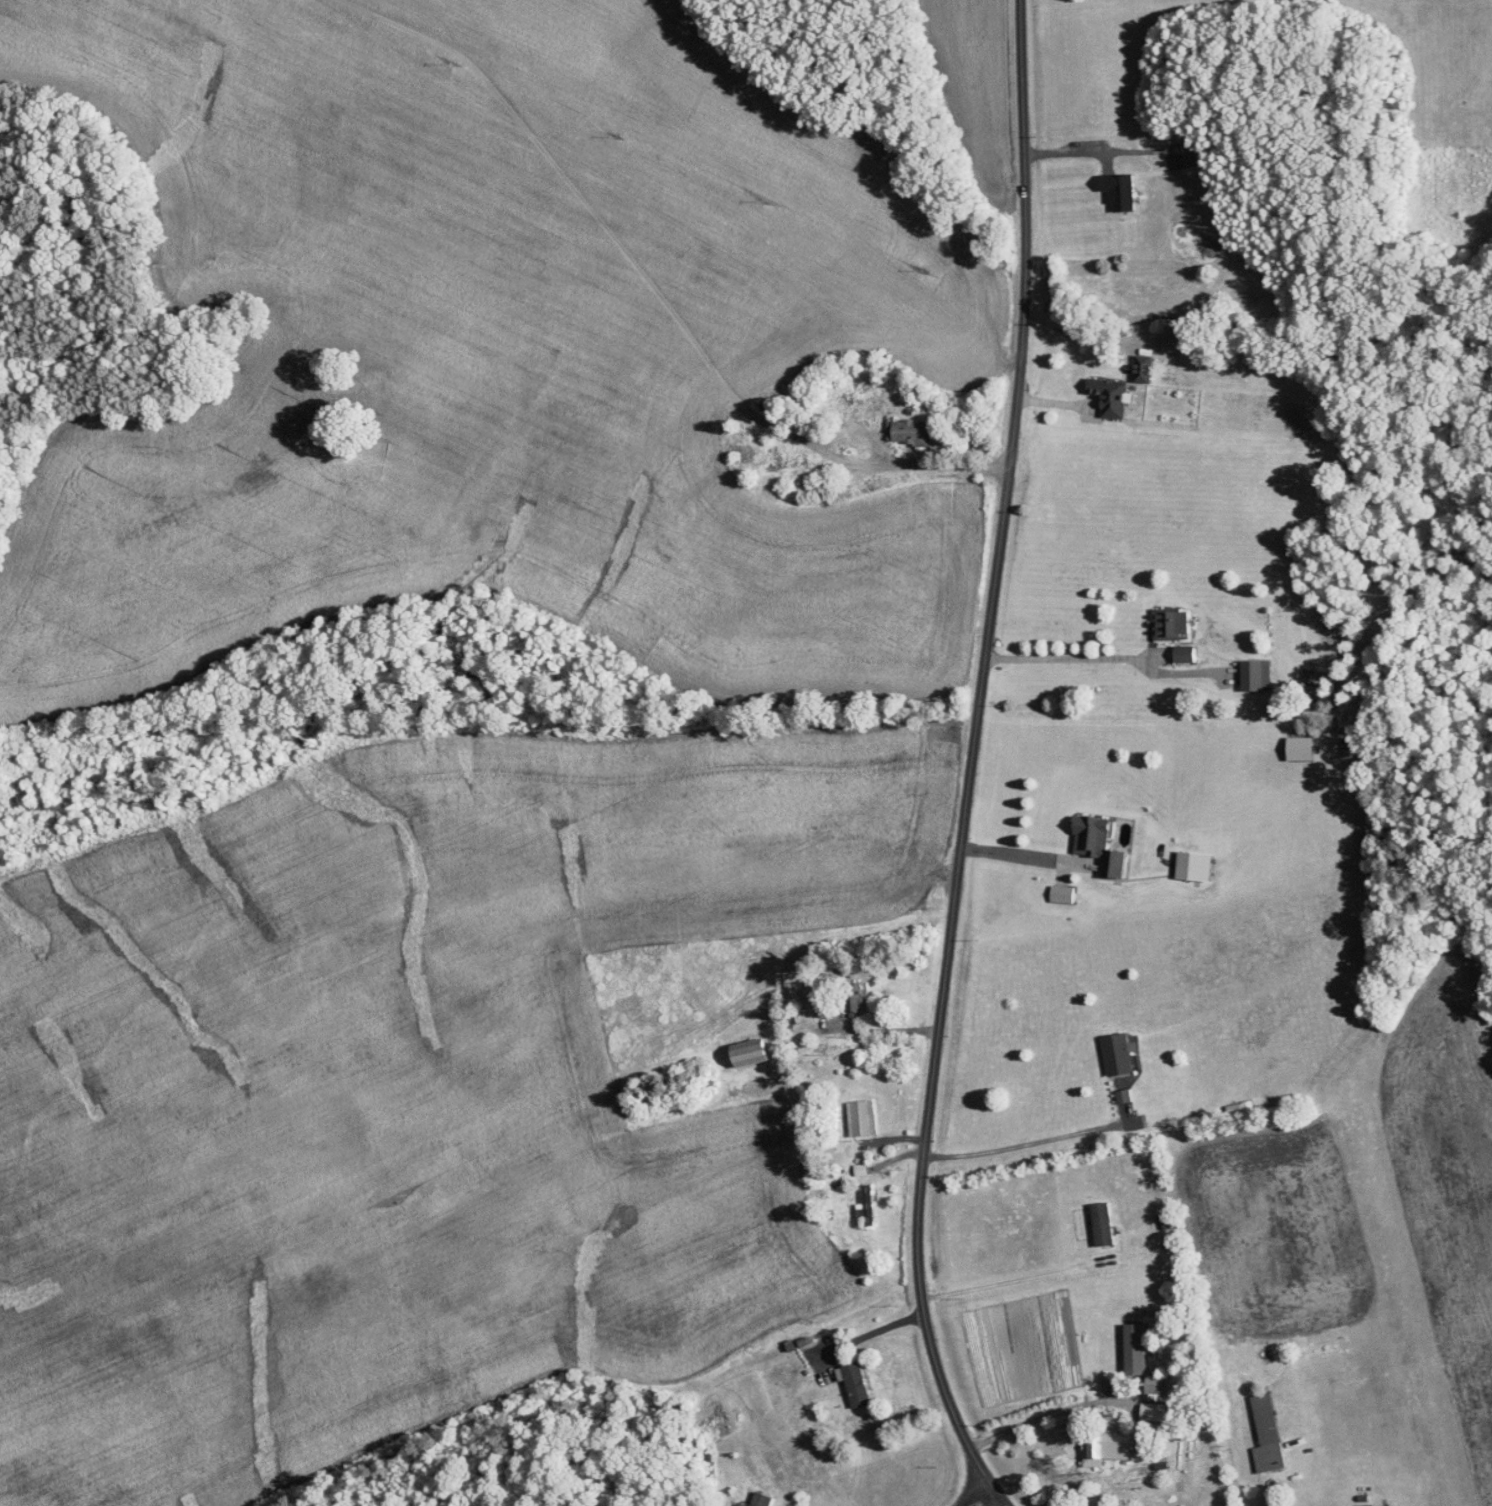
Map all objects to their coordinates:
building: (1141, 371)
building: (1109, 396)
road: (1056, 402)
building: (906, 431)
building: (744, 453)
road: (897, 462)
building: (780, 465)
building: (1169, 624)
building: (1183, 654)
road: (1070, 657)
building: (1254, 675)
road: (968, 762)
building: (1097, 842)
road: (1014, 856)
building: (1192, 864)
building: (1060, 893)
building: (853, 999)
road: (868, 1030)
building: (748, 1051)
building: (1116, 1052)
building: (1122, 1094)
building: (1238, 1108)
building: (859, 1117)
road: (1021, 1143)
building: (865, 1204)
building: (1101, 1222)
road: (1011, 1279)
airport runway: (1410, 1306)
road: (866, 1333)
building: (852, 1382)
building: (1147, 1405)
road: (1050, 1412)
building: (1266, 1434)
building: (1101, 1445)
road: (972, 1496)
building: (756, 1499)
building: (1364, 1504)

